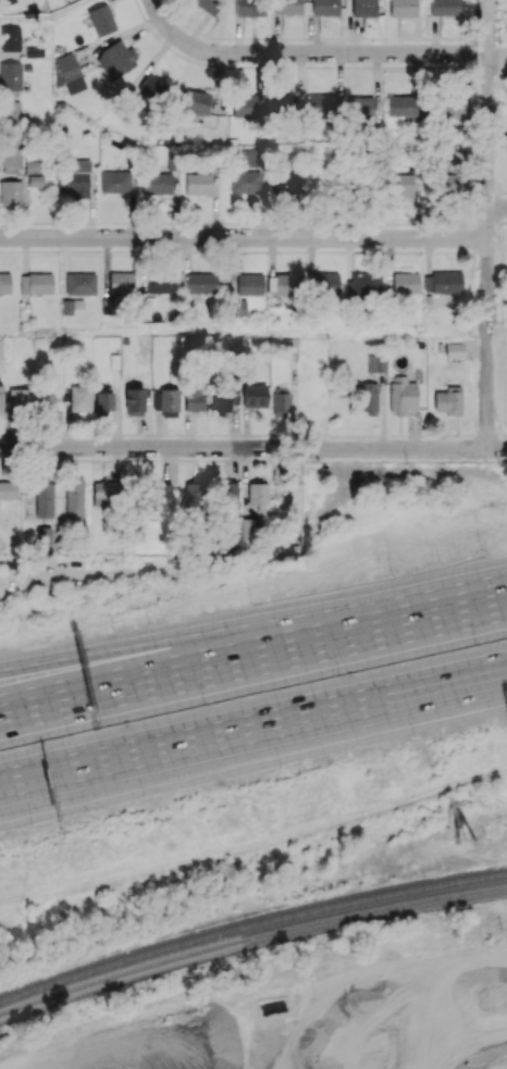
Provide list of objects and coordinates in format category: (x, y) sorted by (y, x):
building: (7, 2)
building: (207, 5)
building: (287, 7)
building: (324, 7)
building: (249, 8)
building: (363, 8)
building: (403, 8)
building: (445, 8)
road: (46, 15)
building: (101, 20)
road: (171, 32)
building: (9, 38)
road: (345, 51)
building: (120, 55)
building: (70, 73)
building: (10, 75)
building: (149, 86)
road: (497, 86)
building: (194, 101)
building: (285, 104)
building: (246, 105)
building: (323, 105)
building: (403, 105)
building: (360, 107)
building: (449, 112)
building: (9, 113)
building: (10, 154)
building: (450, 154)
building: (253, 157)
building: (32, 166)
building: (74, 177)
building: (35, 179)
building: (115, 182)
building: (245, 182)
building: (157, 183)
building: (198, 183)
building: (400, 184)
building: (444, 184)
building: (10, 192)
road: (497, 208)
road: (487, 224)
road: (243, 237)
building: (161, 281)
building: (4, 282)
building: (121, 282)
building: (325, 282)
building: (36, 283)
building: (81, 283)
building: (201, 283)
building: (405, 283)
building: (249, 284)
building: (284, 284)
building: (363, 284)
building: (435, 284)
building: (71, 306)
building: (237, 308)
road: (497, 332)
building: (289, 347)
building: (0, 349)
building: (454, 350)
building: (375, 362)
building: (225, 394)
building: (401, 395)
building: (255, 396)
building: (20, 397)
building: (79, 397)
building: (194, 398)
building: (369, 398)
building: (1, 399)
building: (45, 401)
building: (103, 401)
building: (134, 401)
building: (281, 401)
building: (449, 401)
building: (169, 402)
road: (253, 448)
building: (8, 489)
building: (209, 490)
building: (104, 493)
building: (258, 495)
building: (161, 496)
building: (74, 498)
building: (44, 499)
building: (44, 535)
street lamp: (389, 574)
street lamp: (250, 601)
road: (452, 608)
street lamp: (112, 627)
road: (197, 643)
street lamp: (474, 644)
road: (197, 664)
street lamp: (338, 675)
street lamp: (203, 704)
road: (253, 732)
street lamp: (67, 734)
street lamp: (412, 736)
street lamp: (280, 768)
road: (25, 784)
street lamp: (143, 799)
street lamp: (30, 826)
railway: (250, 928)
railway: (250, 937)

